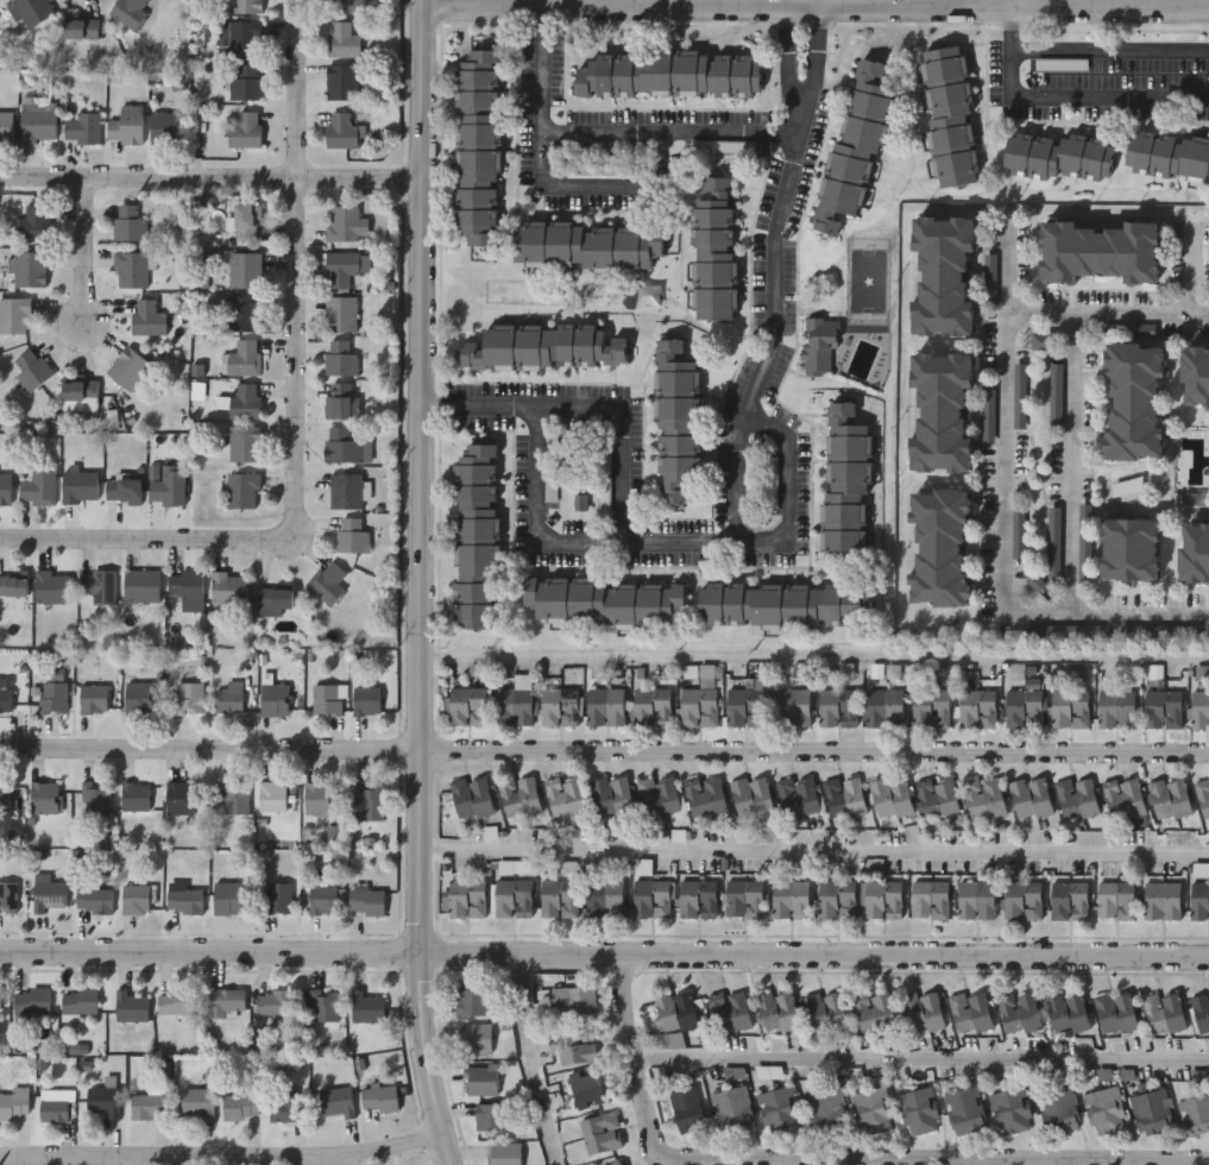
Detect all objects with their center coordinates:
building: (246, 6)
building: (350, 6)
building: (32, 10)
building: (130, 12)
building: (81, 29)
building: (245, 38)
building: (342, 39)
road: (1109, 49)
road: (546, 59)
building: (668, 71)
building: (245, 81)
building: (342, 81)
road: (1065, 97)
building: (947, 113)
road: (732, 118)
building: (38, 121)
building: (6, 124)
building: (126, 125)
building: (82, 127)
building: (168, 127)
building: (245, 130)
building: (345, 130)
building: (476, 144)
building: (852, 144)
building: (1057, 152)
building: (1167, 153)
road: (210, 175)
road: (611, 176)
building: (128, 221)
building: (247, 221)
building: (347, 222)
building: (31, 223)
building: (585, 244)
building: (711, 245)
building: (1102, 247)
road: (82, 248)
road: (1006, 266)
road: (295, 267)
building: (341, 267)
building: (29, 269)
building: (130, 269)
road: (1192, 269)
building: (243, 270)
building: (944, 272)
road: (1106, 311)
building: (243, 313)
building: (340, 314)
building: (14, 315)
building: (147, 316)
building: (816, 342)
building: (542, 345)
building: (244, 358)
building: (342, 358)
building: (128, 367)
building: (31, 370)
building: (1196, 373)
building: (81, 395)
building: (1135, 398)
building: (344, 399)
building: (245, 401)
building: (943, 408)
building: (674, 418)
building: (244, 443)
building: (344, 445)
road: (401, 462)
road: (1002, 462)
road: (1069, 464)
road: (800, 483)
building: (844, 483)
building: (81, 485)
building: (38, 487)
building: (6, 489)
building: (125, 489)
building: (168, 489)
road: (739, 489)
building: (241, 490)
building: (346, 490)
road: (536, 511)
building: (352, 534)
building: (472, 534)
road: (145, 537)
building: (1082, 541)
building: (940, 544)
building: (1131, 547)
building: (1196, 549)
building: (327, 581)
road: (418, 584)
building: (14, 585)
building: (99, 585)
building: (141, 585)
building: (53, 587)
building: (187, 587)
building: (229, 588)
building: (604, 599)
building: (277, 602)
building: (785, 603)
road: (1103, 616)
road: (813, 646)
building: (52, 698)
building: (140, 698)
building: (190, 698)
building: (94, 699)
building: (231, 699)
building: (328, 699)
building: (6, 700)
building: (276, 700)
building: (367, 701)
building: (467, 706)
building: (514, 706)
building: (559, 706)
building: (604, 706)
building: (651, 706)
building: (698, 706)
building: (744, 706)
building: (791, 706)
building: (837, 706)
building: (1022, 706)
building: (884, 707)
building: (1116, 707)
building: (1199, 707)
building: (931, 709)
building: (976, 709)
building: (1070, 709)
building: (1161, 709)
road: (14, 745)
road: (618, 749)
building: (565, 794)
building: (612, 794)
building: (518, 795)
building: (657, 795)
building: (705, 795)
building: (796, 795)
building: (983, 795)
building: (10, 796)
building: (141, 796)
building: (273, 796)
building: (750, 796)
building: (844, 796)
building: (890, 796)
building: (937, 796)
building: (1029, 796)
building: (1076, 796)
building: (1167, 796)
building: (1202, 796)
building: (46, 798)
building: (95, 798)
building: (181, 799)
building: (235, 799)
building: (320, 799)
building: (471, 799)
building: (1123, 799)
building: (372, 802)
road: (813, 839)
building: (50, 896)
building: (8, 898)
building: (511, 898)
building: (604, 898)
building: (227, 899)
building: (278, 899)
building: (466, 899)
building: (558, 899)
building: (651, 899)
building: (744, 899)
building: (928, 899)
building: (136, 900)
building: (184, 900)
building: (323, 900)
building: (697, 900)
building: (791, 900)
building: (836, 900)
building: (881, 900)
building: (976, 900)
building: (1022, 900)
building: (1115, 900)
building: (95, 901)
building: (366, 901)
building: (1069, 901)
building: (1163, 901)
building: (1199, 901)
road: (604, 951)
building: (571, 1000)
building: (0, 1001)
building: (80, 1001)
building: (32, 1002)
building: (473, 1002)
building: (176, 1003)
building: (227, 1003)
building: (131, 1007)
building: (277, 1007)
building: (326, 1007)
building: (367, 1008)
building: (674, 1010)
building: (824, 1010)
building: (729, 1012)
building: (776, 1012)
building: (920, 1012)
building: (969, 1012)
building: (1020, 1012)
building: (1116, 1012)
building: (1164, 1012)
building: (874, 1013)
building: (1066, 1013)
building: (1199, 1014)
building: (477, 1039)
building: (573, 1045)
road: (919, 1057)
road: (527, 1059)
building: (484, 1081)
building: (586, 1088)
building: (380, 1098)
building: (338, 1102)
building: (14, 1103)
building: (102, 1103)
building: (199, 1103)
building: (56, 1107)
building: (149, 1107)
building: (243, 1107)
building: (730, 1108)
building: (869, 1108)
building: (1057, 1108)
building: (686, 1109)
building: (776, 1109)
building: (1101, 1109)
building: (283, 1110)
building: (918, 1110)
building: (963, 1110)
building: (1010, 1110)
building: (825, 1112)
building: (1151, 1112)
building: (1194, 1114)
building: (492, 1117)
building: (599, 1133)
road: (221, 1148)
building: (505, 1154)
road: (830, 1157)
road: (1026, 1160)
building: (613, 1163)

